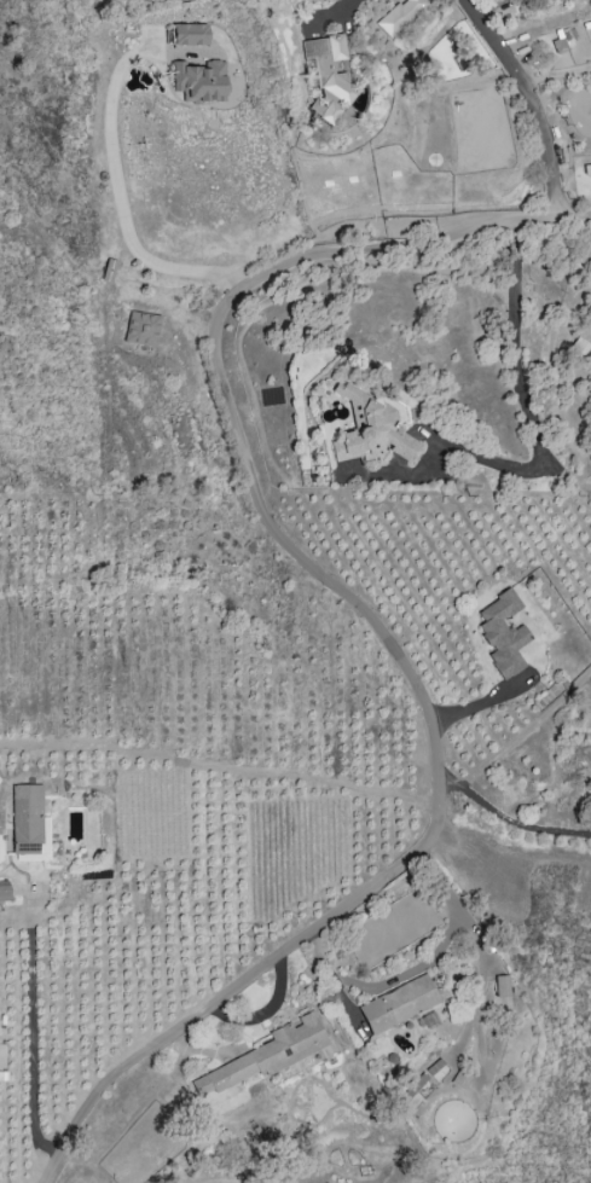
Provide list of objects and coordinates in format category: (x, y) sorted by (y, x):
road: (332, 13)
building: (399, 16)
building: (558, 23)
building: (190, 34)
building: (328, 76)
building: (199, 81)
road: (533, 102)
road: (116, 179)
road: (514, 231)
building: (141, 329)
building: (580, 347)
road: (531, 424)
building: (371, 429)
road: (379, 625)
building: (502, 634)
road: (522, 740)
road: (225, 760)
road: (512, 823)
building: (4, 893)
road: (415, 970)
building: (500, 987)
building: (398, 1004)
road: (31, 1030)
building: (266, 1055)

